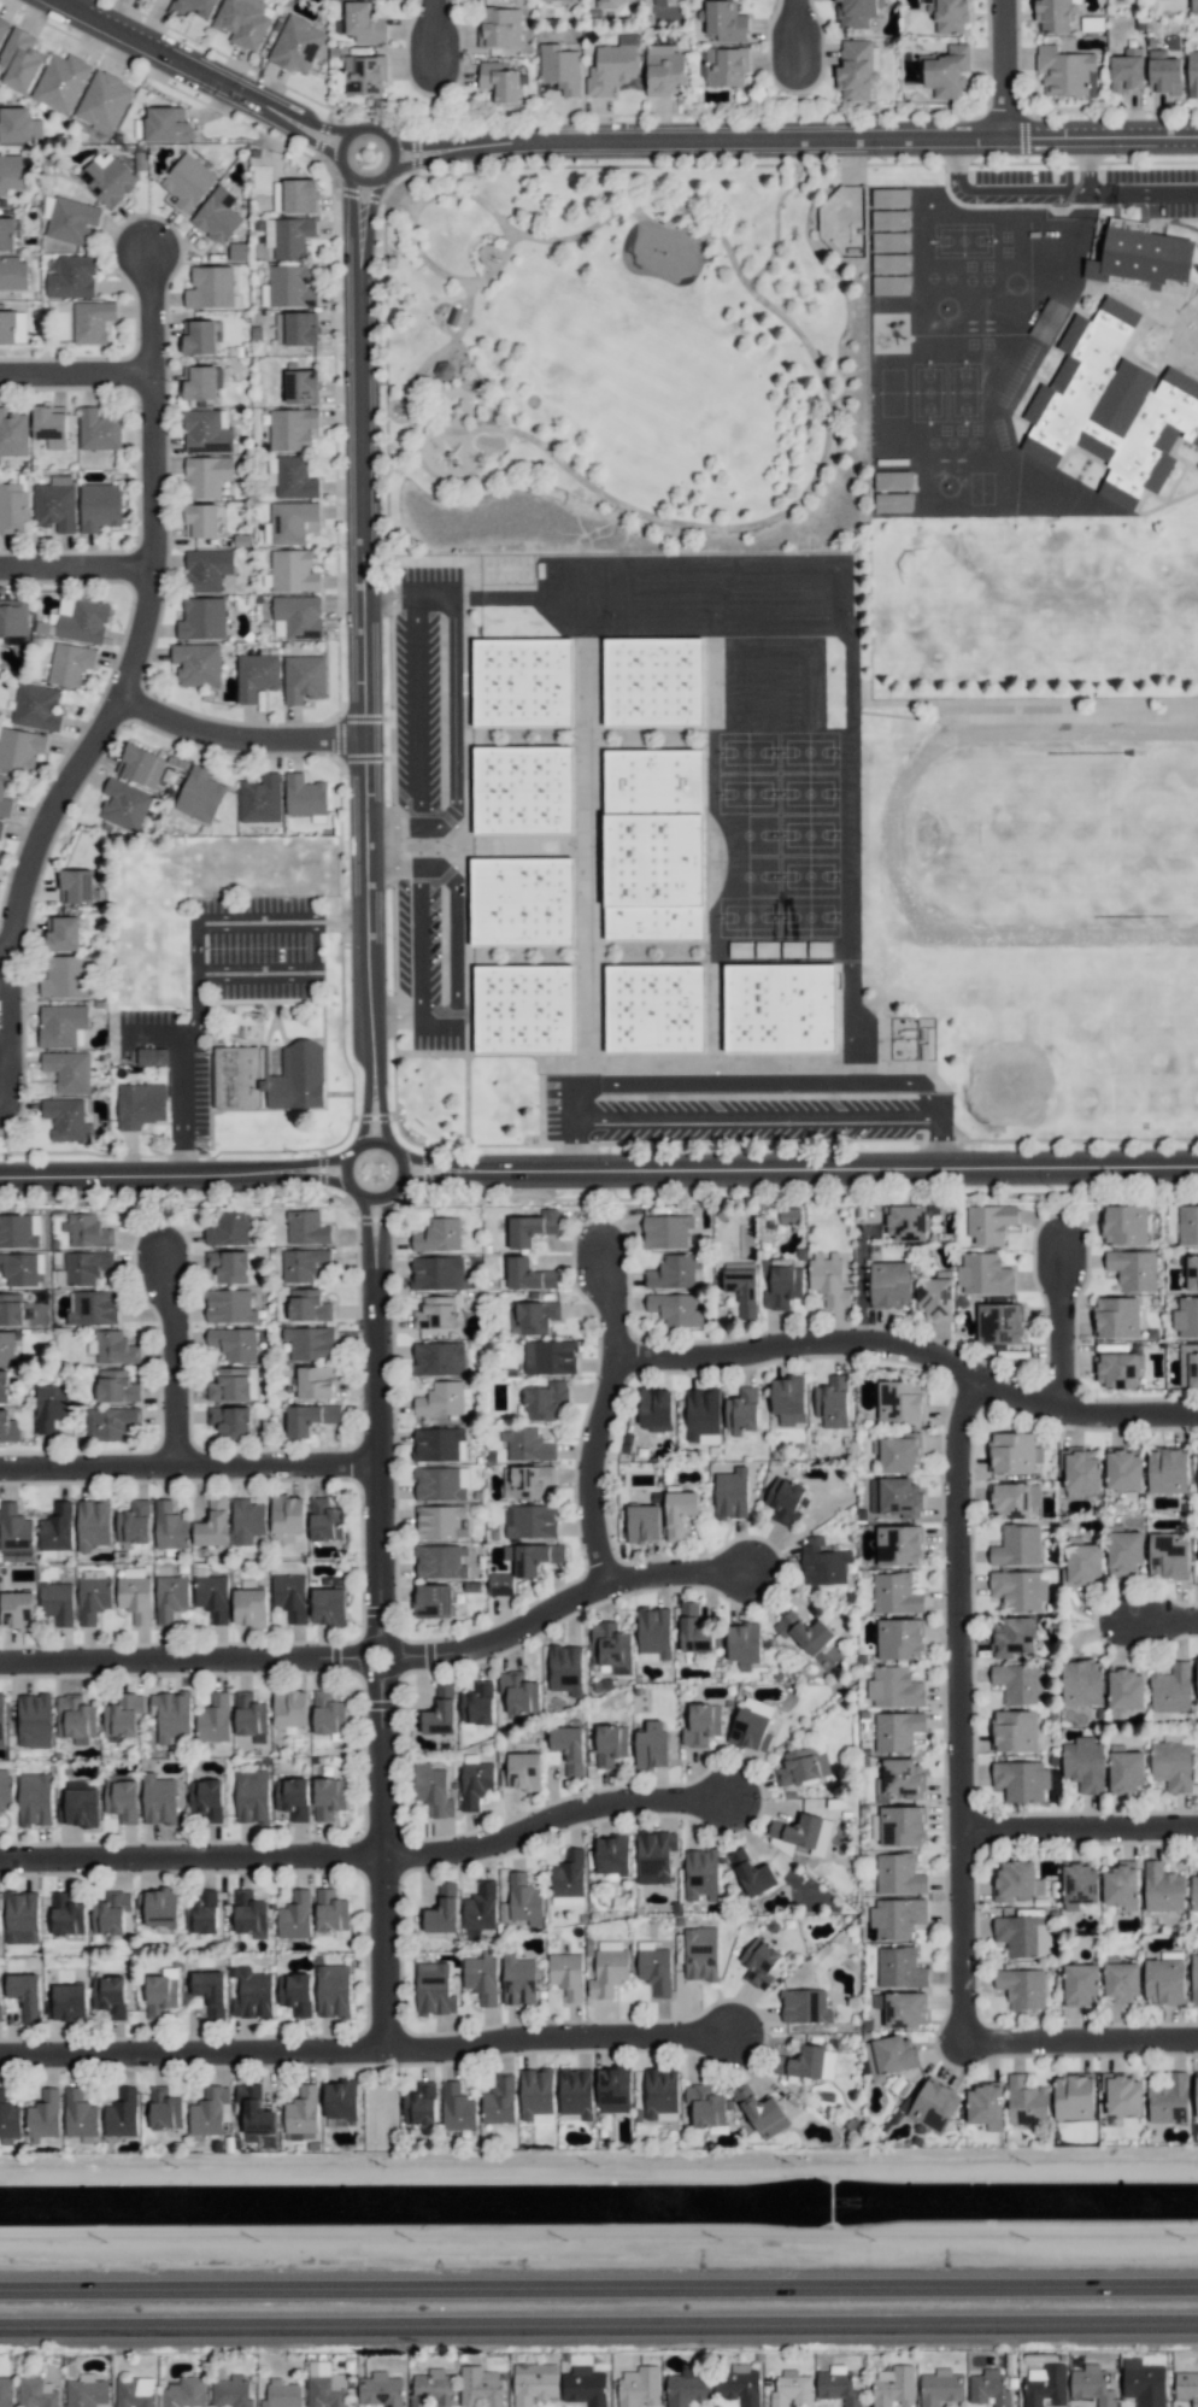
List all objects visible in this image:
building: (551, 0)
building: (664, 1)
building: (607, 4)
building: (1193, 5)
building: (192, 7)
building: (856, 12)
building: (950, 16)
building: (1053, 16)
building: (726, 20)
building: (243, 22)
building: (364, 23)
building: (2, 27)
building: (499, 27)
road: (799, 37)
road: (433, 39)
building: (296, 45)
building: (19, 60)
building: (612, 66)
building: (723, 66)
building: (560, 67)
building: (857, 69)
road: (1009, 69)
building: (664, 70)
building: (1127, 70)
building: (947, 71)
building: (1065, 71)
building: (1163, 72)
building: (1192, 74)
building: (364, 75)
building: (500, 81)
building: (60, 82)
building: (102, 101)
building: (168, 124)
building: (18, 125)
road: (612, 140)
road: (1087, 165)
building: (10, 172)
building: (107, 178)
building: (187, 181)
parking lot: (1017, 184)
road: (998, 193)
road: (1143, 193)
building: (299, 195)
building: (889, 198)
parking lot: (1152, 199)
building: (883, 206)
road: (398, 209)
road: (411, 213)
building: (217, 216)
road: (770, 218)
building: (889, 219)
building: (71, 221)
building: (885, 228)
building: (7, 234)
building: (288, 236)
building: (889, 241)
building: (883, 249)
building: (891, 263)
building: (1135, 265)
building: (13, 272)
building: (885, 272)
building: (72, 277)
road: (734, 284)
building: (289, 286)
building: (210, 287)
building: (885, 293)
road: (354, 294)
road: (148, 307)
building: (92, 321)
building: (12, 327)
building: (296, 328)
building: (199, 336)
park: (624, 360)
road: (75, 375)
building: (201, 382)
building: (301, 386)
building: (1108, 412)
building: (98, 429)
building: (290, 429)
building: (206, 432)
building: (13, 434)
building: (271, 470)
building: (206, 476)
building: (294, 477)
building: (886, 488)
building: (893, 503)
building: (55, 504)
building: (99, 506)
building: (13, 507)
building: (886, 510)
building: (200, 521)
building: (292, 521)
road: (76, 568)
building: (206, 569)
building: (293, 570)
building: (299, 615)
building: (201, 618)
building: (83, 621)
building: (69, 663)
building: (196, 663)
building: (256, 675)
building: (304, 679)
building: (650, 681)
building: (519, 682)
parking lot: (421, 705)
building: (36, 706)
road: (417, 711)
road: (94, 733)
road: (235, 740)
building: (19, 748)
road: (364, 757)
building: (140, 765)
building: (521, 789)
building: (200, 794)
building: (304, 794)
building: (4, 798)
building: (260, 798)
building: (124, 805)
building: (0, 826)
building: (651, 844)
road: (404, 861)
building: (76, 886)
building: (518, 902)
road: (282, 915)
building: (63, 933)
road: (419, 951)
road: (2, 953)
parking lot: (424, 958)
building: (65, 976)
building: (776, 1008)
building: (652, 1009)
building: (522, 1010)
road: (394, 1015)
building: (63, 1025)
road: (181, 1041)
park: (1193, 1051)
building: (151, 1056)
park: (1022, 1061)
building: (67, 1070)
building: (269, 1078)
building: (140, 1104)
road: (380, 1104)
road: (364, 1105)
parking lot: (742, 1106)
road: (757, 1115)
building: (66, 1119)
road: (309, 1161)
road: (435, 1162)
road: (400, 1168)
road: (835, 1172)
road: (135, 1175)
road: (433, 1178)
road: (310, 1179)
building: (906, 1222)
building: (989, 1222)
building: (1124, 1225)
building: (1187, 1225)
building: (306, 1227)
building: (532, 1227)
building: (229, 1228)
building: (19, 1231)
building: (87, 1231)
building: (665, 1231)
road: (362, 1235)
building: (439, 1235)
road: (383, 1238)
building: (304, 1263)
building: (230, 1266)
building: (87, 1267)
building: (23, 1269)
building: (1132, 1269)
building: (674, 1272)
building: (1192, 1272)
building: (437, 1273)
building: (528, 1274)
building: (983, 1274)
building: (828, 1278)
road: (859, 1281)
building: (782, 1284)
building: (891, 1284)
building: (742, 1286)
building: (935, 1295)
road: (603, 1299)
building: (307, 1305)
building: (229, 1307)
building: (93, 1308)
building: (11, 1309)
building: (675, 1309)
building: (436, 1311)
building: (533, 1316)
building: (1116, 1317)
building: (1186, 1317)
building: (999, 1323)
road: (1052, 1323)
building: (234, 1343)
building: (310, 1343)
building: (6, 1348)
building: (114, 1348)
road: (905, 1350)
building: (550, 1357)
road: (165, 1358)
building: (439, 1358)
building: (1188, 1364)
building: (1117, 1369)
building: (316, 1382)
building: (234, 1385)
building: (4, 1386)
building: (116, 1386)
building: (788, 1399)
building: (900, 1399)
building: (545, 1401)
building: (832, 1402)
building: (51, 1405)
building: (654, 1409)
building: (741, 1411)
building: (703, 1415)
building: (310, 1417)
building: (230, 1421)
building: (110, 1422)
building: (8, 1427)
building: (436, 1443)
building: (527, 1444)
building: (1197, 1449)
building: (898, 1452)
building: (1014, 1452)
road: (183, 1466)
road: (582, 1470)
building: (1080, 1470)
building: (1123, 1470)
building: (1167, 1470)
building: (525, 1481)
building: (441, 1484)
building: (732, 1493)
building: (895, 1496)
building: (1014, 1499)
building: (786, 1501)
building: (679, 1513)
building: (287, 1514)
building: (247, 1520)
building: (324, 1520)
building: (530, 1521)
building: (134, 1522)
building: (441, 1522)
building: (642, 1522)
building: (93, 1524)
building: (213, 1524)
building: (170, 1526)
building: (57, 1527)
building: (14, 1532)
building: (898, 1545)
building: (1016, 1545)
building: (1124, 1552)
building: (1168, 1555)
building: (532, 1557)
building: (440, 1561)
building: (823, 1562)
building: (1084, 1563)
road: (669, 1573)
building: (500, 1584)
building: (1018, 1590)
building: (895, 1593)
building: (289, 1596)
building: (135, 1597)
building: (170, 1597)
building: (212, 1597)
building: (93, 1598)
building: (431, 1601)
building: (57, 1602)
building: (249, 1607)
building: (328, 1607)
building: (17, 1610)
road: (1156, 1616)
building: (693, 1630)
building: (653, 1633)
building: (805, 1633)
building: (1012, 1636)
building: (900, 1639)
building: (744, 1644)
building: (611, 1646)
road: (306, 1657)
road: (371, 1661)
building: (1197, 1667)
building: (565, 1669)
building: (1018, 1683)
building: (1082, 1683)
building: (894, 1687)
building: (1126, 1689)
building: (1171, 1689)
building: (518, 1691)
building: (477, 1703)
building: (758, 1706)
road: (951, 1706)
building: (290, 1708)
building: (440, 1712)
building: (328, 1713)
building: (123, 1715)
building: (171, 1715)
building: (251, 1716)
building: (76, 1719)
building: (215, 1719)
building: (1, 1720)
building: (34, 1720)
building: (701, 1725)
building: (750, 1730)
building: (897, 1731)
building: (1015, 1731)
building: (610, 1744)
building: (651, 1744)
building: (569, 1748)
building: (1085, 1763)
building: (1171, 1765)
building: (801, 1766)
building: (1127, 1771)
building: (521, 1772)
building: (902, 1778)
building: (1021, 1779)
building: (475, 1784)
building: (5, 1789)
building: (433, 1790)
building: (252, 1796)
building: (293, 1797)
building: (329, 1797)
building: (35, 1798)
building: (122, 1798)
building: (207, 1798)
building: (159, 1800)
building: (81, 1804)
road: (542, 1818)
road: (1075, 1824)
building: (902, 1825)
building: (804, 1832)
building: (610, 1855)
building: (654, 1855)
road: (186, 1856)
building: (752, 1873)
building: (701, 1874)
building: (898, 1874)
building: (569, 1879)
building: (1016, 1881)
building: (1121, 1884)
building: (1079, 1885)
building: (1162, 1888)
building: (1193, 1895)
building: (524, 1900)
building: (160, 1907)
building: (480, 1907)
building: (330, 1910)
building: (442, 1910)
building: (111, 1913)
building: (202, 1913)
building: (248, 1913)
building: (65, 1914)
building: (295, 1915)
building: (22, 1916)
building: (897, 1918)
building: (0, 1930)
building: (1023, 1936)
building: (700, 1953)
building: (759, 1962)
building: (654, 1967)
building: (899, 1967)
building: (607, 1972)
building: (566, 1974)
building: (481, 1977)
building: (1194, 1978)
building: (518, 1980)
building: (1164, 1982)
building: (1121, 1983)
building: (1081, 1984)
building: (1022, 1988)
building: (434, 1989)
building: (333, 1990)
building: (162, 1991)
building: (210, 1991)
building: (252, 1994)
building: (295, 1994)
building: (25, 1995)
building: (110, 1996)
building: (0, 1998)
building: (69, 2002)
building: (804, 2006)
building: (904, 2009)
road: (547, 2036)
road: (1076, 2036)
road: (187, 2051)
building: (889, 2056)
building: (801, 2062)
building: (613, 2089)
building: (575, 2091)
building: (660, 2094)
building: (1122, 2094)
building: (535, 2095)
building: (1196, 2095)
building: (1073, 2096)
building: (1169, 2100)
building: (340, 2101)
building: (499, 2101)
building: (1026, 2102)
building: (419, 2104)
building: (934, 2104)
building: (705, 2106)
building: (985, 2106)
building: (457, 2107)
building: (164, 2108)
building: (210, 2110)
building: (254, 2110)
building: (761, 2112)
building: (121, 2113)
building: (80, 2114)
building: (301, 2114)
building: (43, 2115)
building: (8, 2119)
road: (598, 2285)
road: (599, 2314)
building: (534, 2383)
building: (1144, 2383)
building: (738, 2384)
building: (1092, 2384)
building: (583, 2385)
building: (838, 2385)
building: (893, 2385)
building: (1045, 2385)
building: (325, 2387)
building: (480, 2387)
building: (639, 2387)
building: (688, 2387)
building: (941, 2387)
building: (1186, 2387)
building: (380, 2389)
building: (433, 2389)
building: (988, 2389)
building: (233, 2390)
building: (6, 2391)
building: (86, 2391)
building: (135, 2391)
building: (184, 2391)
building: (37, 2393)
building: (282, 2394)

